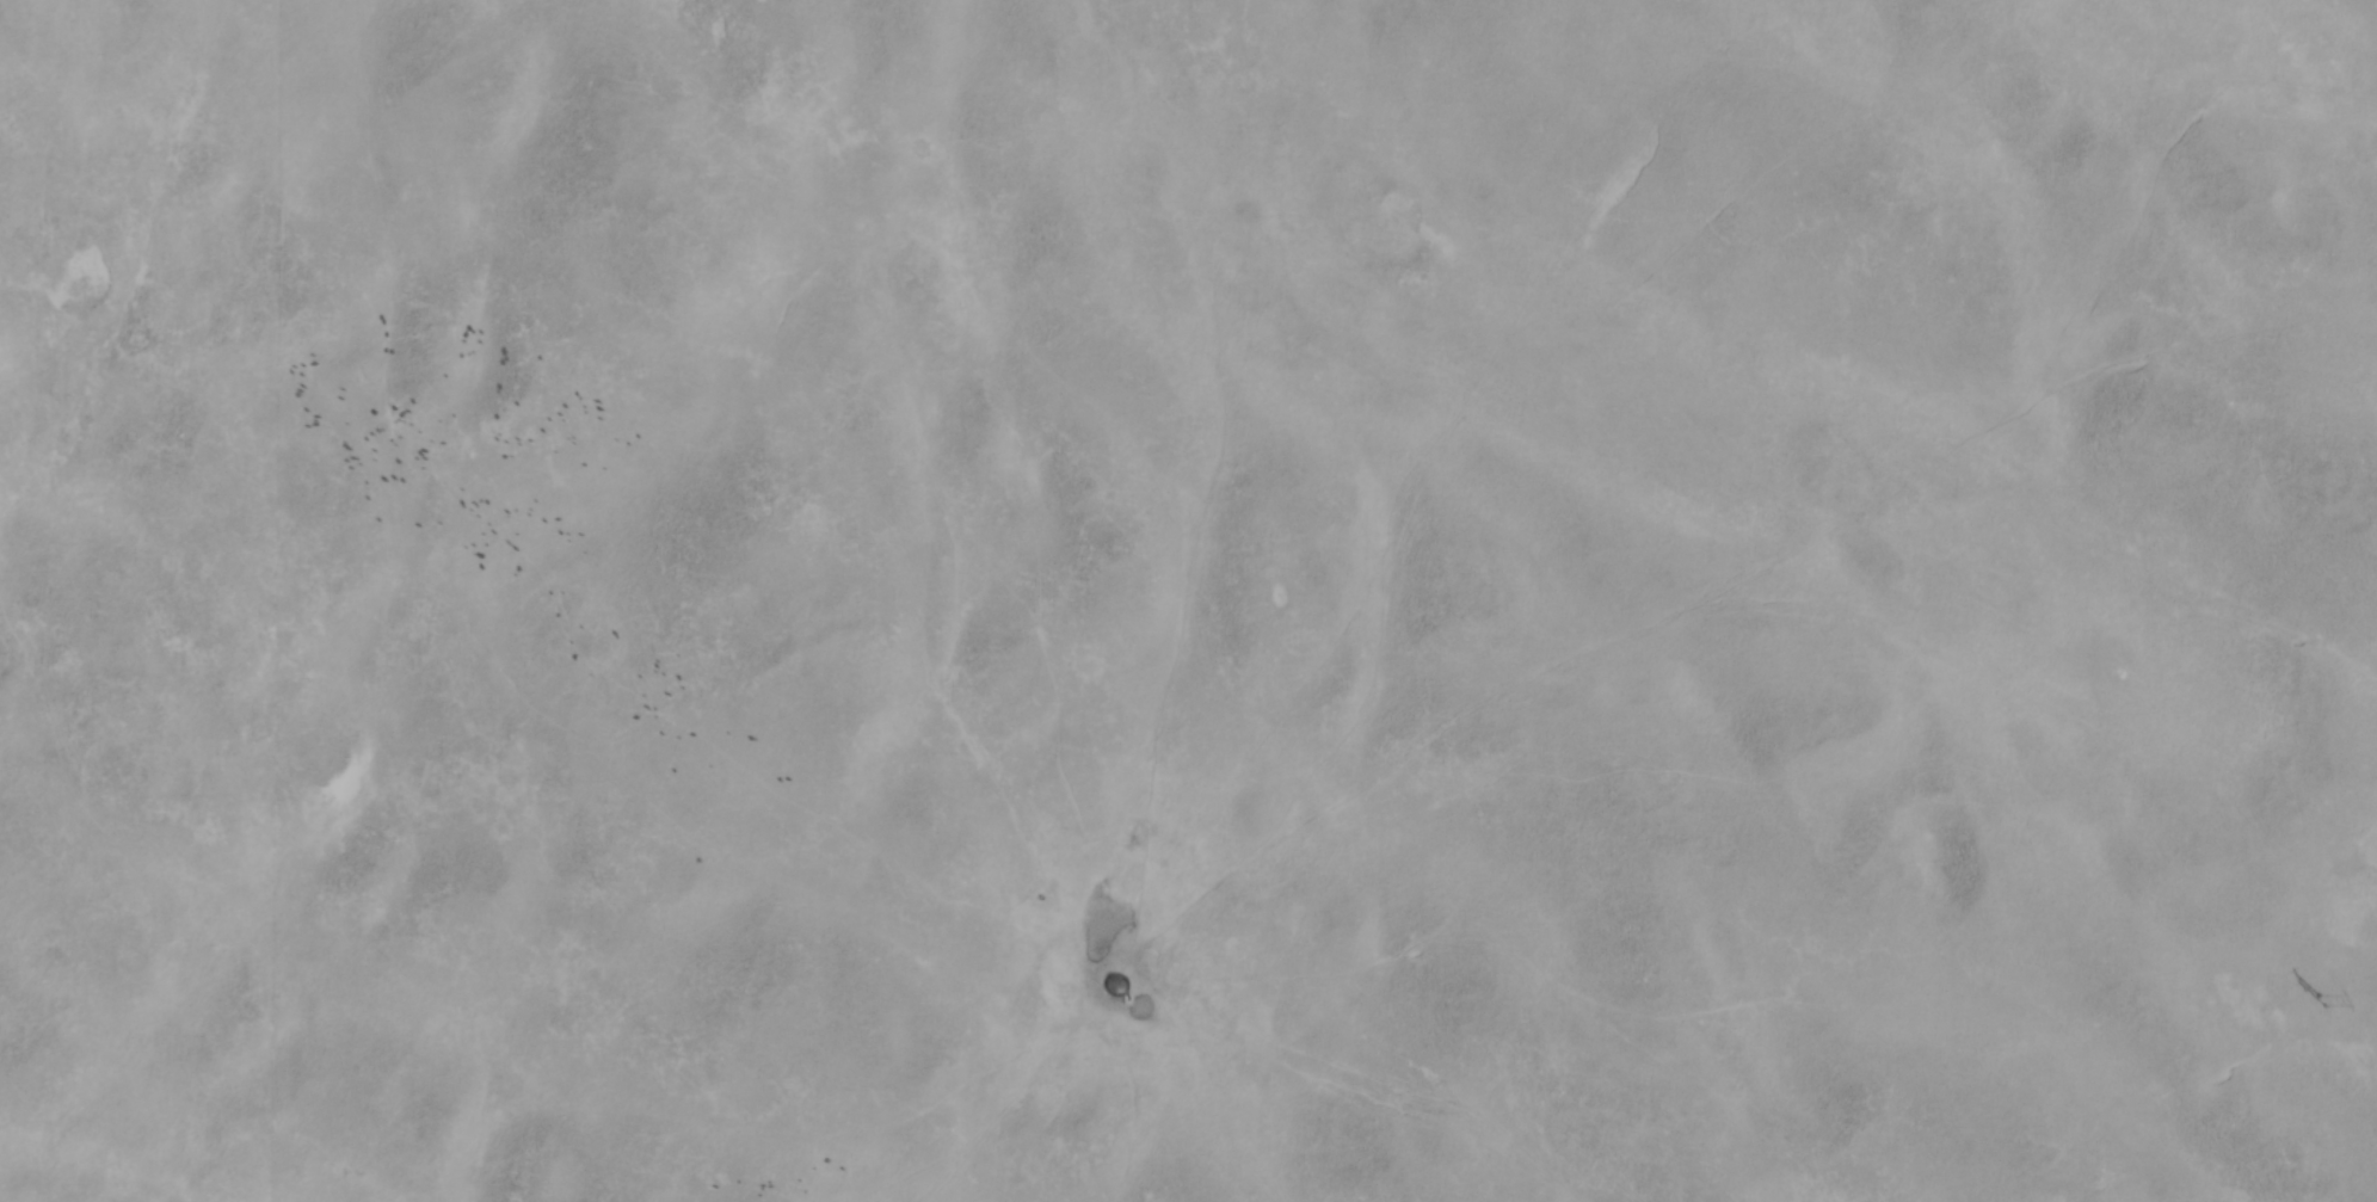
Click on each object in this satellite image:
power tower: (2323, 1000)

